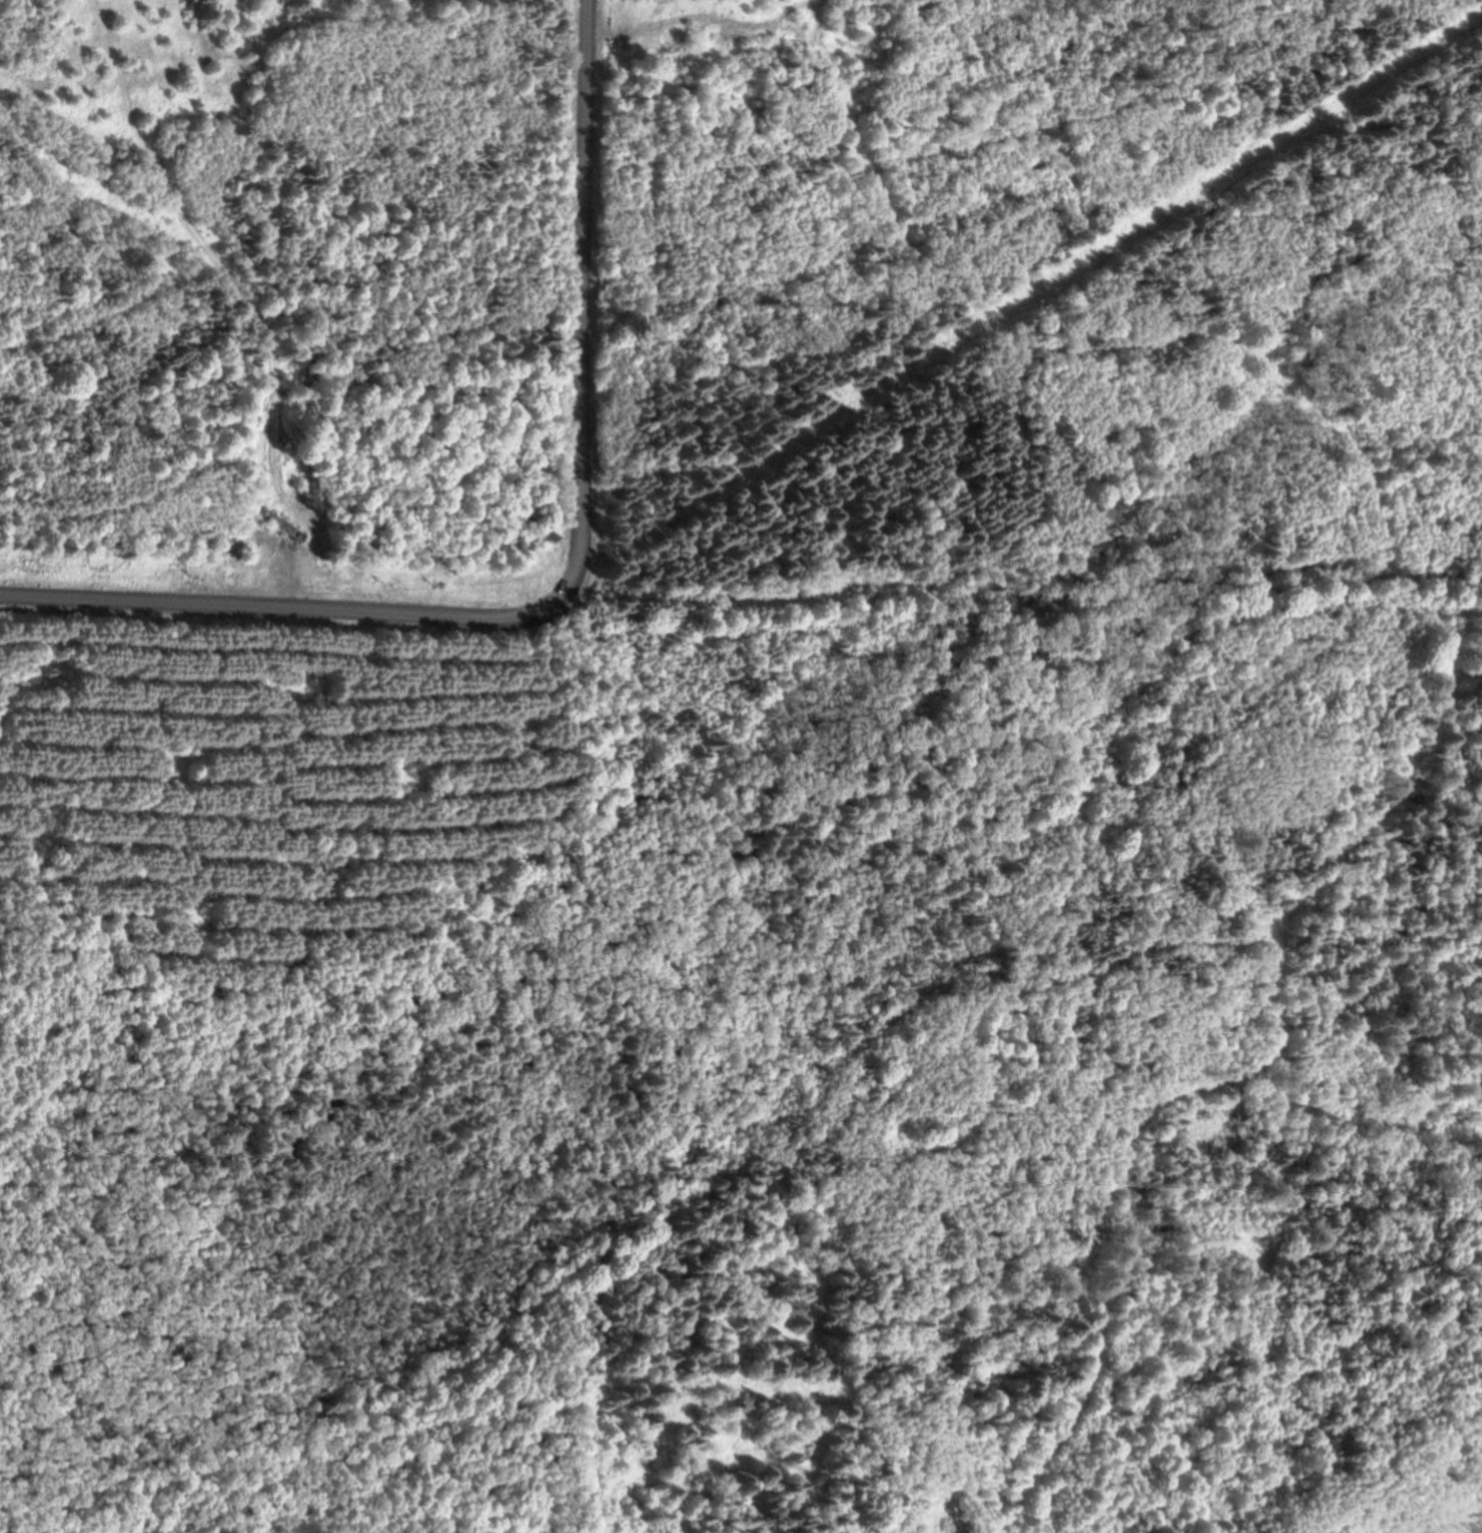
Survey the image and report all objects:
building: (284, 529)
road: (568, 581)

